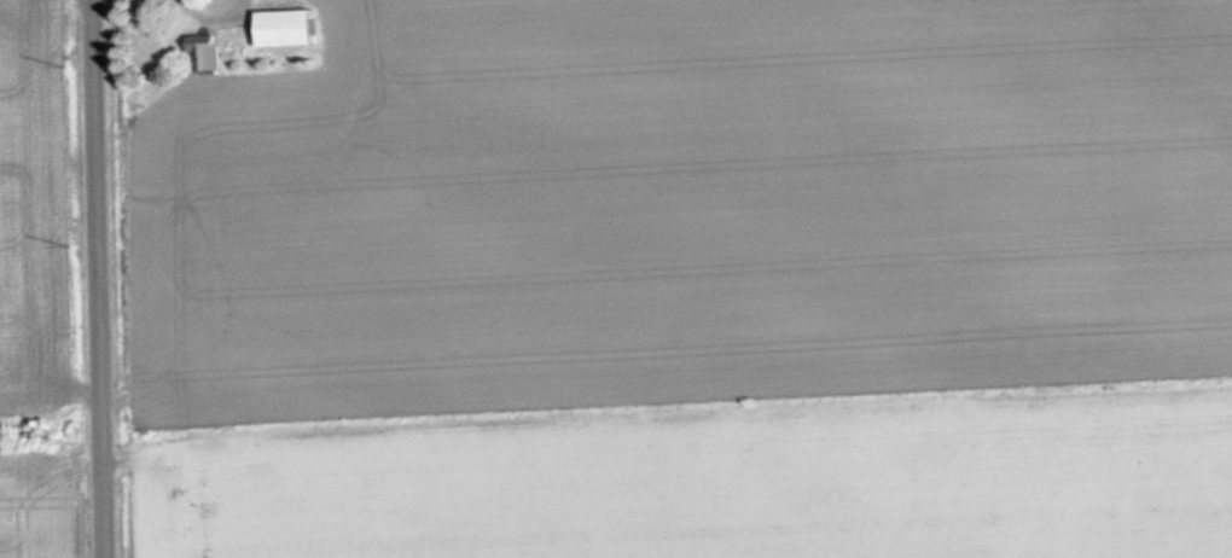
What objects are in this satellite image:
building: (277, 28)
building: (199, 51)
road: (103, 279)

